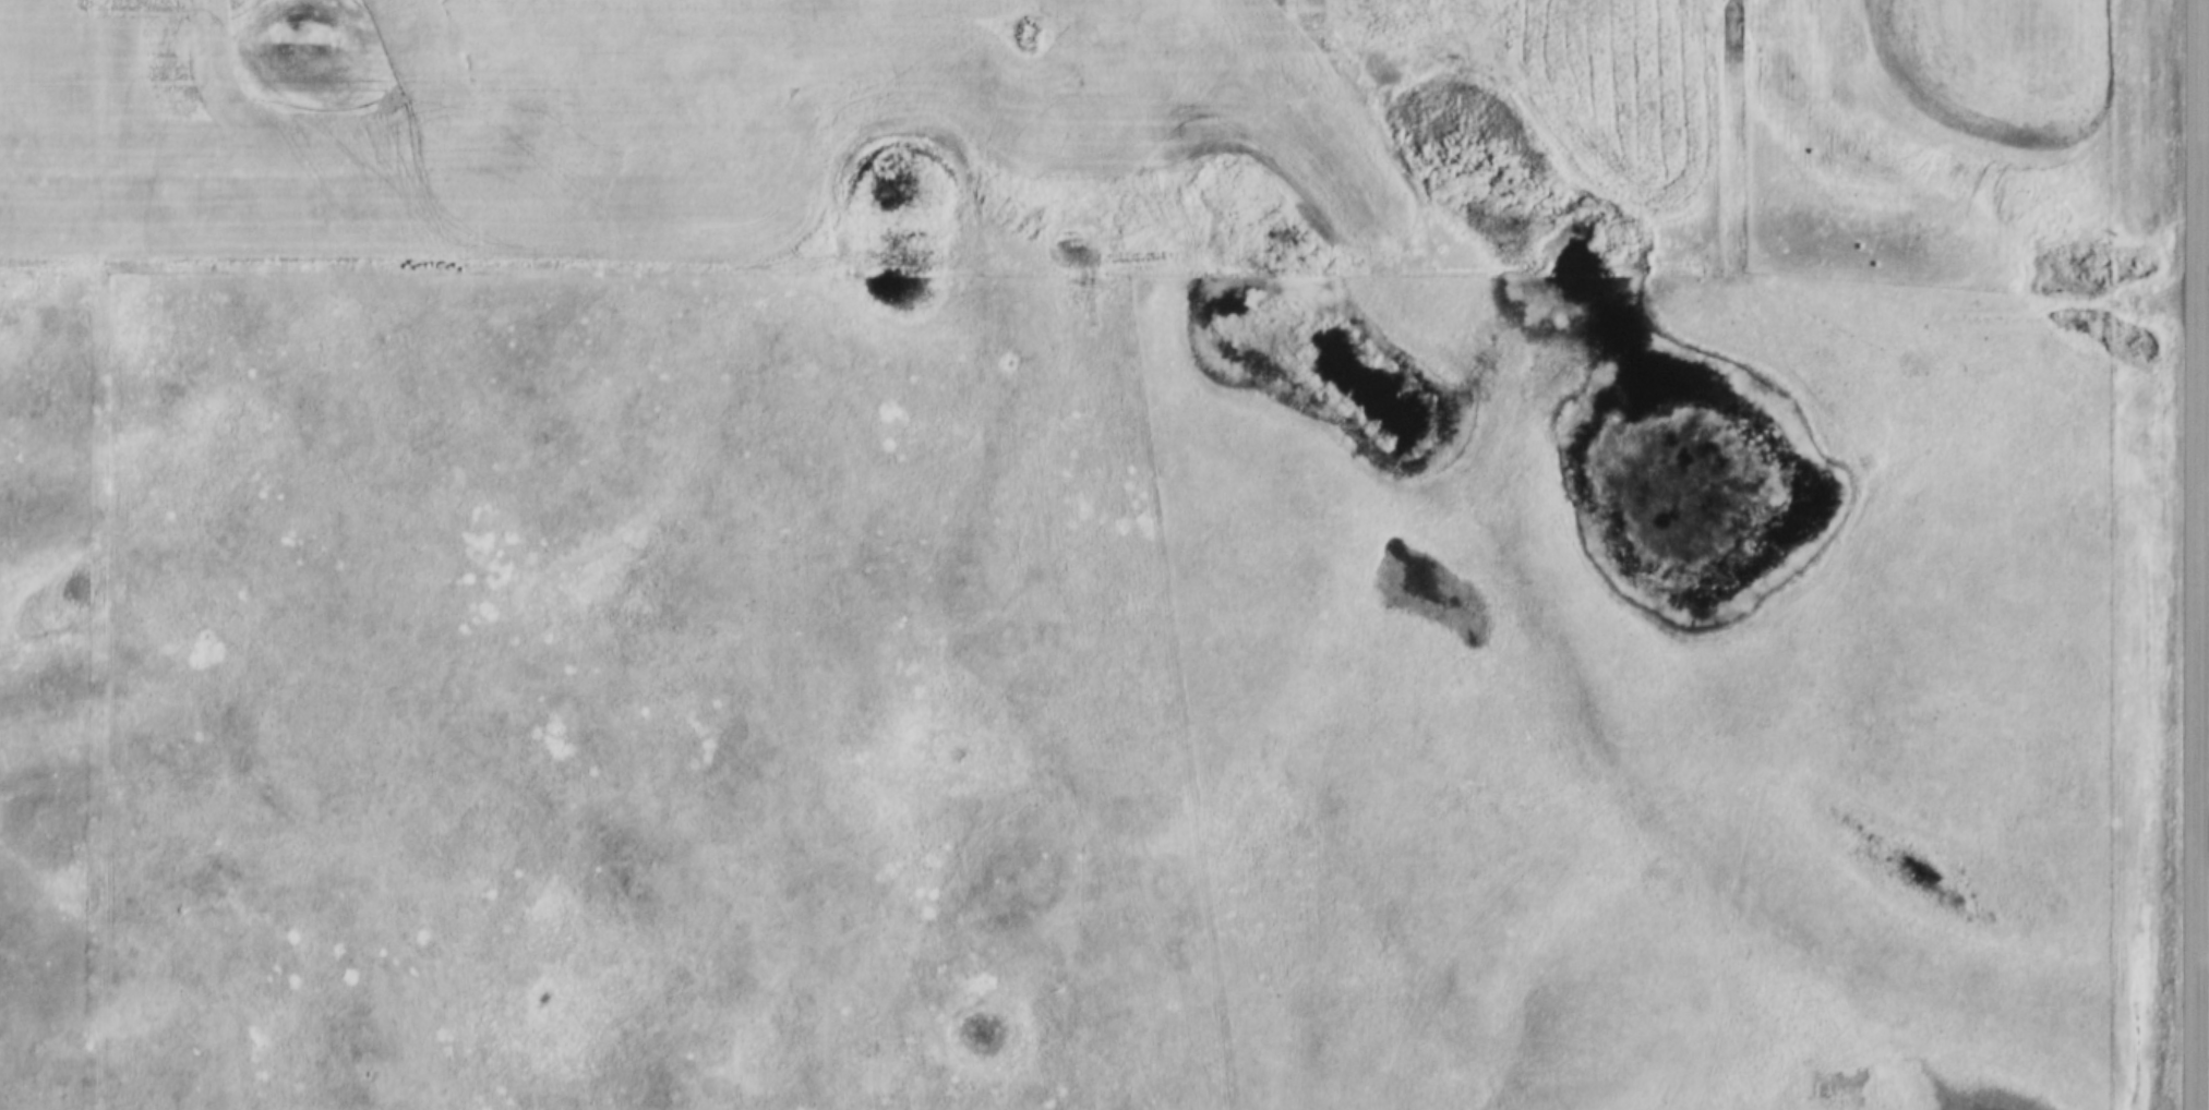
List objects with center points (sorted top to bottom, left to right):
road: (2205, 300)
road: (2198, 554)

